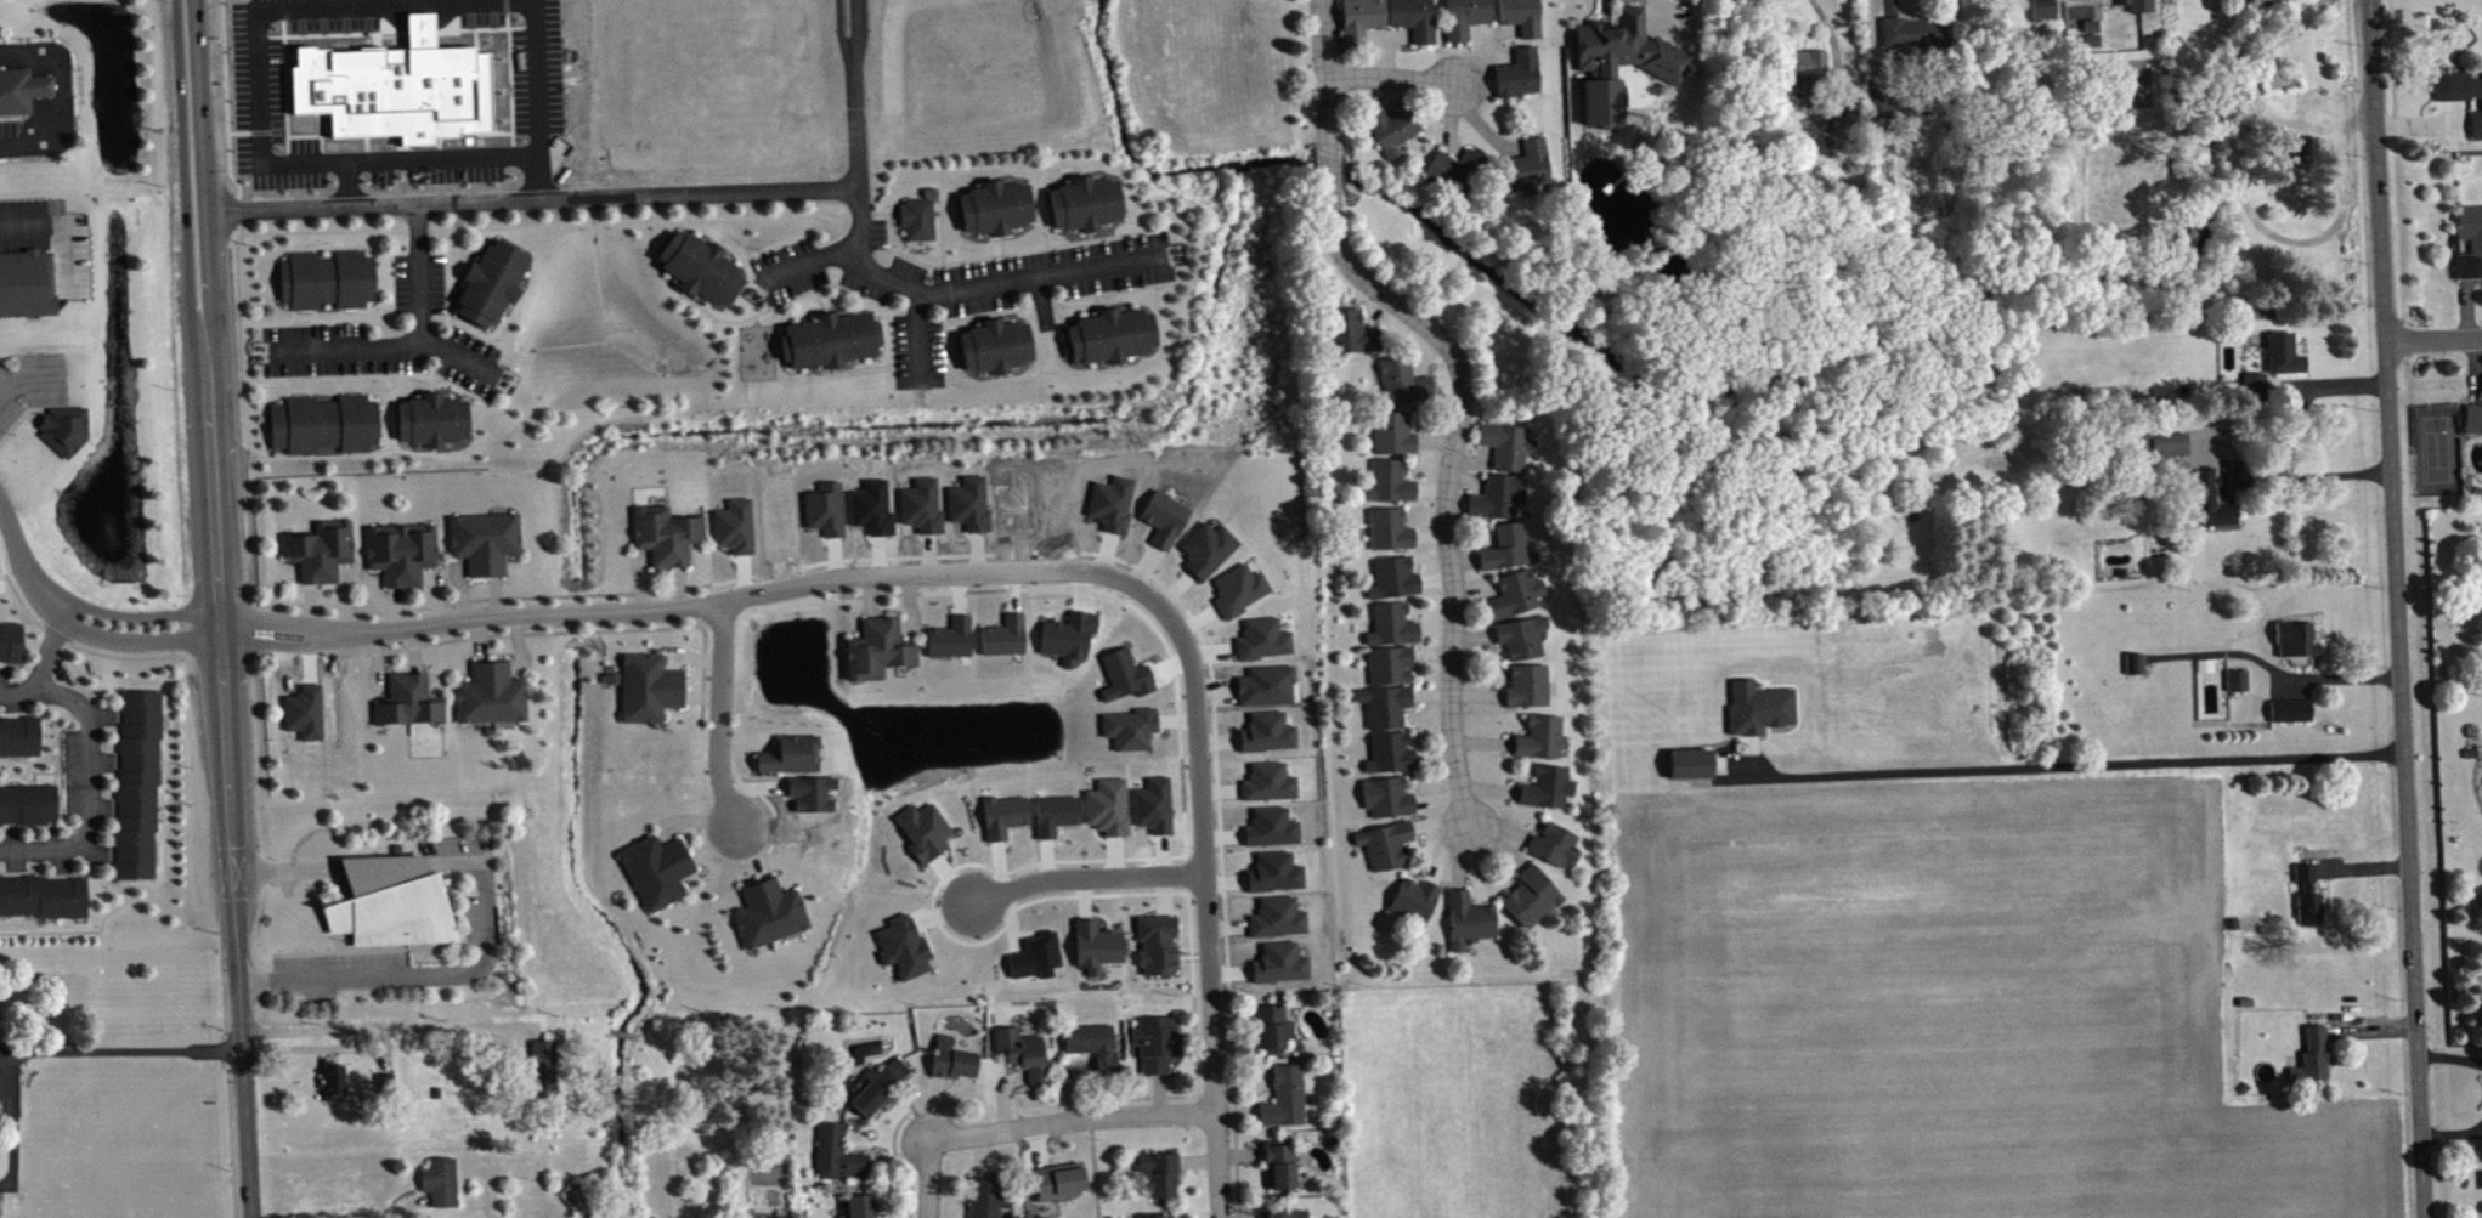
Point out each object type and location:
road: (1888, 0)
building: (2081, 1)
building: (2120, 1)
building: (2046, 13)
building: (1468, 19)
building: (1523, 19)
building: (1364, 22)
building: (1417, 22)
road: (842, 29)
road: (856, 29)
building: (1918, 39)
road: (1833, 44)
building: (1623, 68)
building: (1804, 73)
road: (535, 74)
road: (1327, 78)
building: (1521, 79)
road: (1393, 80)
road: (67, 85)
building: (392, 86)
building: (22, 89)
building: (2459, 92)
road: (44, 97)
road: (259, 111)
building: (1855, 119)
building: (2477, 131)
building: (1392, 132)
parking lot: (10, 137)
road: (11, 142)
building: (2303, 153)
road: (1010, 170)
road: (204, 172)
road: (1328, 172)
road: (183, 174)
building: (1531, 174)
building: (1455, 176)
road: (536, 177)
road: (346, 183)
road: (597, 198)
building: (1082, 203)
building: (994, 206)
road: (1039, 208)
road: (880, 214)
building: (916, 215)
road: (638, 216)
road: (63, 228)
road: (323, 231)
road: (940, 232)
road: (888, 233)
road: (1120, 234)
parking lot: (50, 238)
road: (1000, 244)
road: (340, 247)
road: (358, 248)
road: (313, 249)
road: (339, 249)
road: (758, 251)
building: (2477, 251)
road: (993, 256)
road: (446, 259)
road: (807, 262)
building: (699, 267)
road: (1041, 272)
building: (326, 279)
building: (26, 282)
building: (491, 282)
road: (897, 283)
parking lot: (952, 283)
parking lot: (419, 287)
road: (816, 289)
road: (1110, 291)
road: (1104, 300)
road: (447, 306)
road: (825, 310)
road: (1011, 310)
road: (361, 313)
road: (295, 315)
road: (315, 315)
road: (341, 315)
road: (349, 319)
road: (505, 322)
road: (944, 323)
building: (1109, 334)
building: (1353, 338)
building: (827, 339)
road: (2435, 341)
road: (1161, 342)
road: (411, 345)
building: (994, 345)
parking lot: (384, 350)
road: (460, 358)
building: (2284, 359)
road: (858, 368)
road: (1069, 373)
road: (1000, 375)
road: (318, 376)
road: (996, 378)
road: (29, 383)
road: (362, 384)
road: (434, 384)
parking lot: (30, 385)
road: (343, 385)
road: (289, 386)
road: (310, 386)
building: (1406, 389)
building: (2257, 391)
building: (432, 419)
building: (323, 423)
building: (2475, 425)
building: (63, 429)
building: (1396, 438)
building: (2172, 449)
road: (415, 452)
building: (1509, 452)
road: (295, 457)
road: (2314, 481)
road: (1452, 482)
building: (1392, 488)
building: (1499, 503)
building: (2214, 508)
building: (737, 532)
building: (665, 534)
building: (1392, 536)
building: (484, 540)
building: (320, 550)
building: (401, 553)
building: (1508, 554)
building: (1210, 555)
building: (1397, 584)
building: (1243, 596)
building: (1517, 600)
road: (2401, 608)
road: (549, 610)
building: (1395, 631)
building: (10, 641)
building: (1006, 642)
building: (1070, 642)
building: (1525, 644)
building: (952, 645)
building: (1267, 645)
building: (2299, 645)
road: (78, 647)
building: (876, 648)
building: (1392, 672)
road: (2279, 672)
building: (1127, 681)
building: (2240, 686)
building: (648, 687)
building: (1531, 692)
road: (18, 693)
parking lot: (30, 693)
building: (490, 693)
building: (407, 701)
building: (1387, 712)
building: (2294, 716)
road: (718, 719)
building: (18, 735)
building: (1133, 735)
building: (1271, 738)
building: (1543, 743)
road: (87, 750)
building: (787, 754)
building: (1393, 759)
road: (2070, 764)
road: (224, 782)
building: (136, 783)
building: (1272, 788)
building: (1550, 793)
parking lot: (73, 800)
building: (1390, 803)
building: (27, 804)
building: (1110, 812)
building: (1057, 821)
building: (1006, 822)
building: (1274, 834)
building: (926, 837)
building: (1389, 851)
building: (1556, 851)
building: (655, 869)
road: (1085, 877)
building: (2308, 882)
building: (41, 895)
building: (389, 901)
building: (1533, 903)
building: (1417, 906)
road: (1204, 907)
building: (767, 912)
building: (2313, 914)
road: (101, 923)
building: (1471, 927)
building: (1159, 951)
building: (1099, 952)
building: (906, 953)
building: (1039, 963)
road: (432, 971)
road: (373, 1025)
building: (1270, 1025)
building: (2, 1035)
building: (1153, 1042)
building: (1091, 1044)
road: (130, 1050)
building: (1020, 1052)
building: (950, 1059)
building: (2316, 1063)
road: (11, 1065)
parking lot: (10, 1073)
building: (545, 1075)
building: (330, 1080)
building: (383, 1083)
building: (876, 1084)
building: (1282, 1094)
road: (1229, 1098)
road: (1040, 1106)
road: (1233, 1112)
road: (1073, 1122)
road: (13, 1124)
building: (836, 1152)
building: (1277, 1165)
road: (1093, 1172)
building: (1157, 1172)
road: (931, 1180)
building: (1057, 1180)
building: (439, 1182)
building: (986, 1196)
building: (579, 1205)
building: (859, 1206)
building: (1280, 1211)
building: (1155, 1216)

